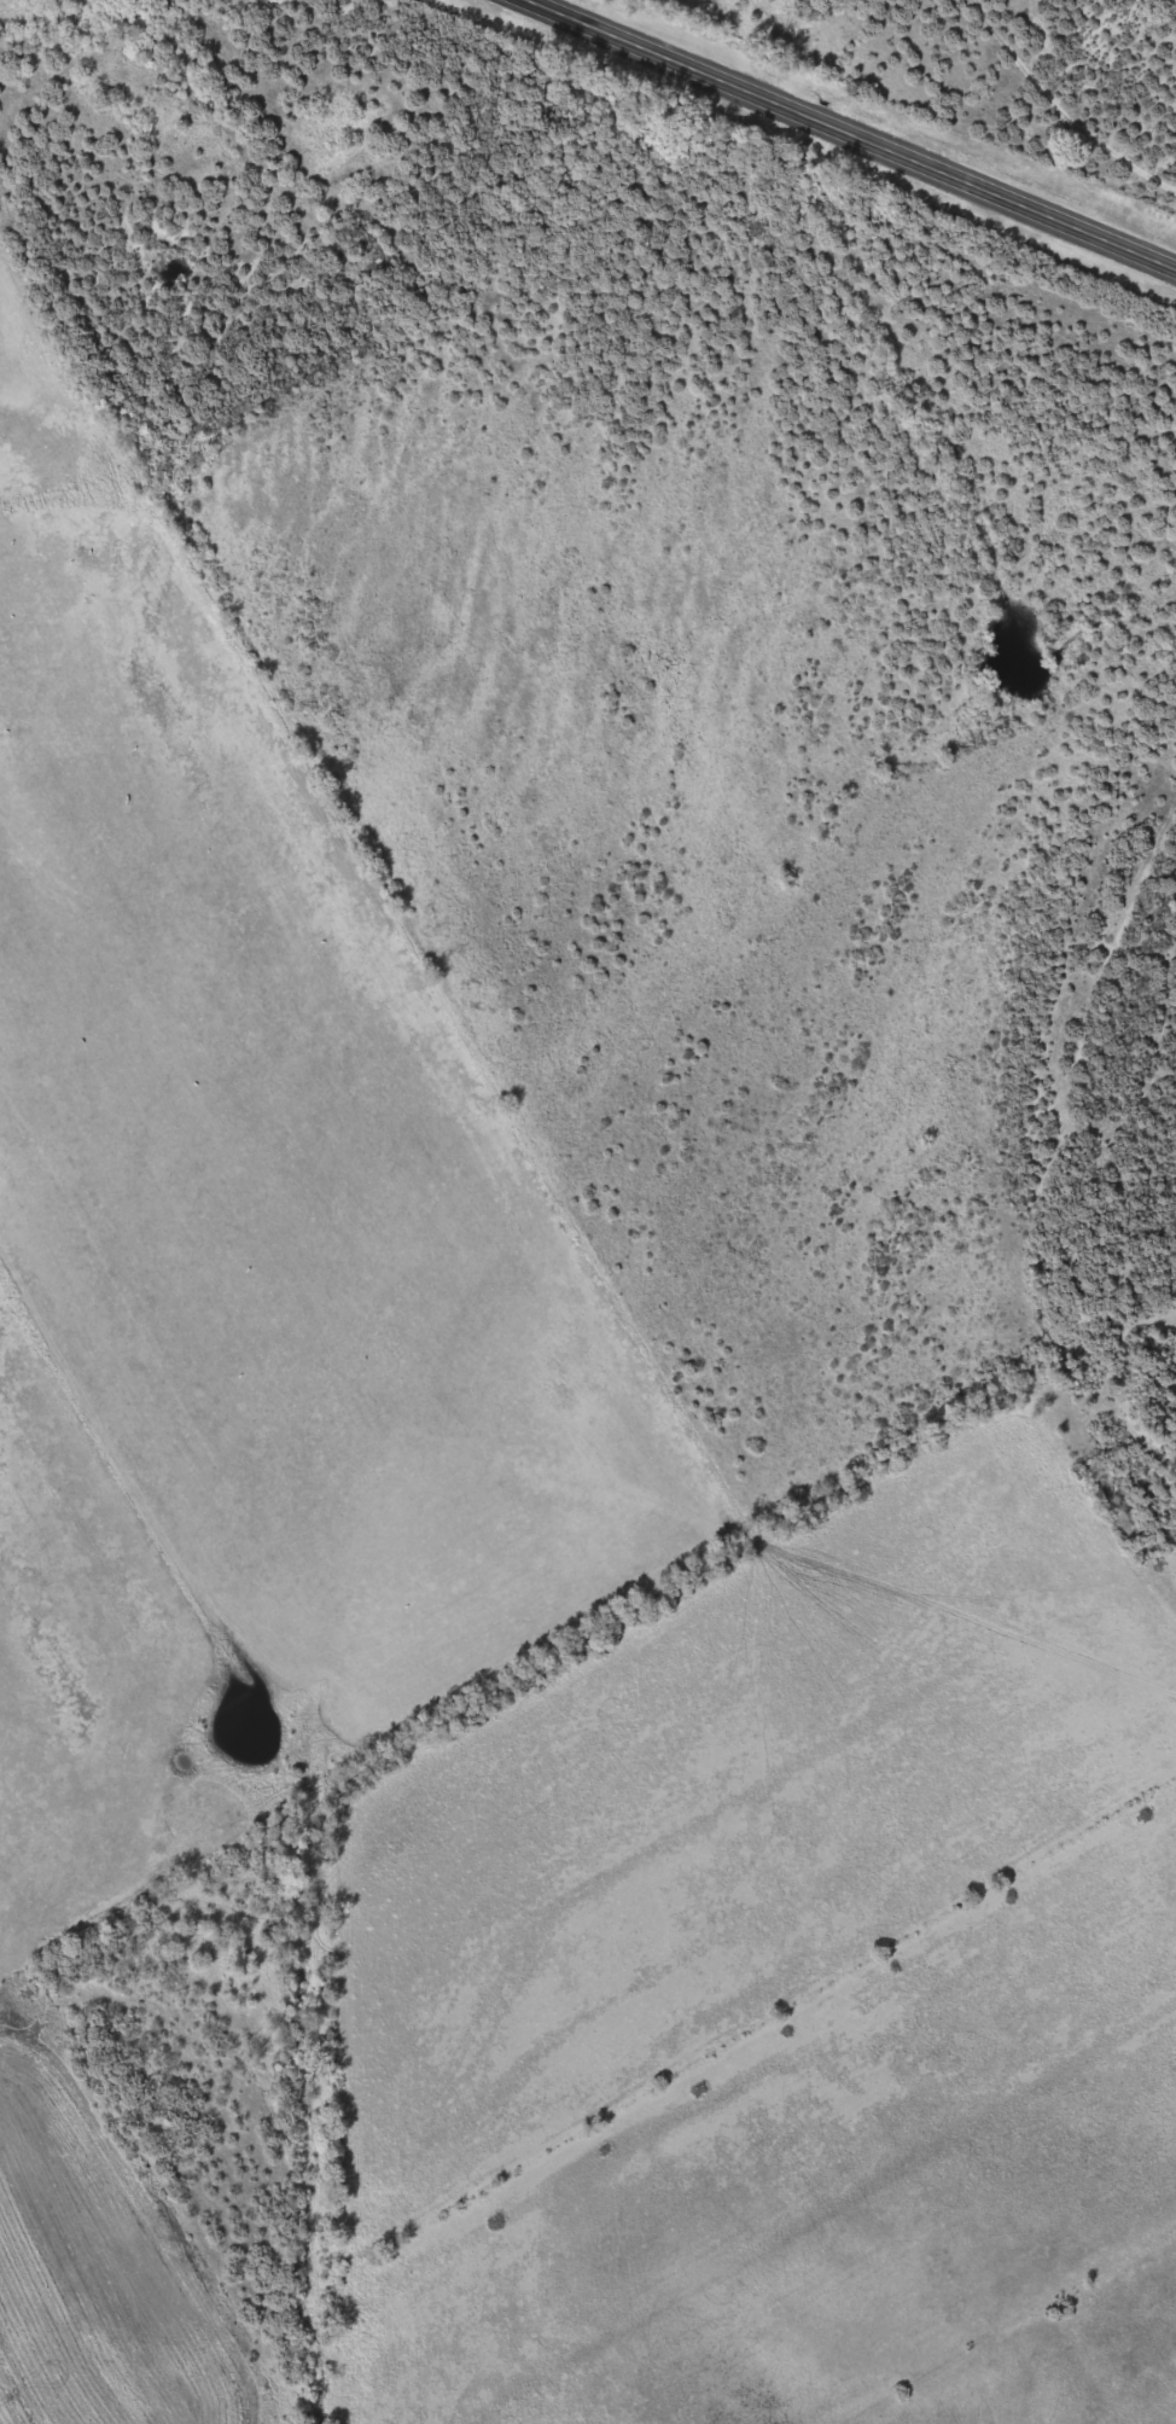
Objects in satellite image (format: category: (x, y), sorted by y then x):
road: (860, 130)

